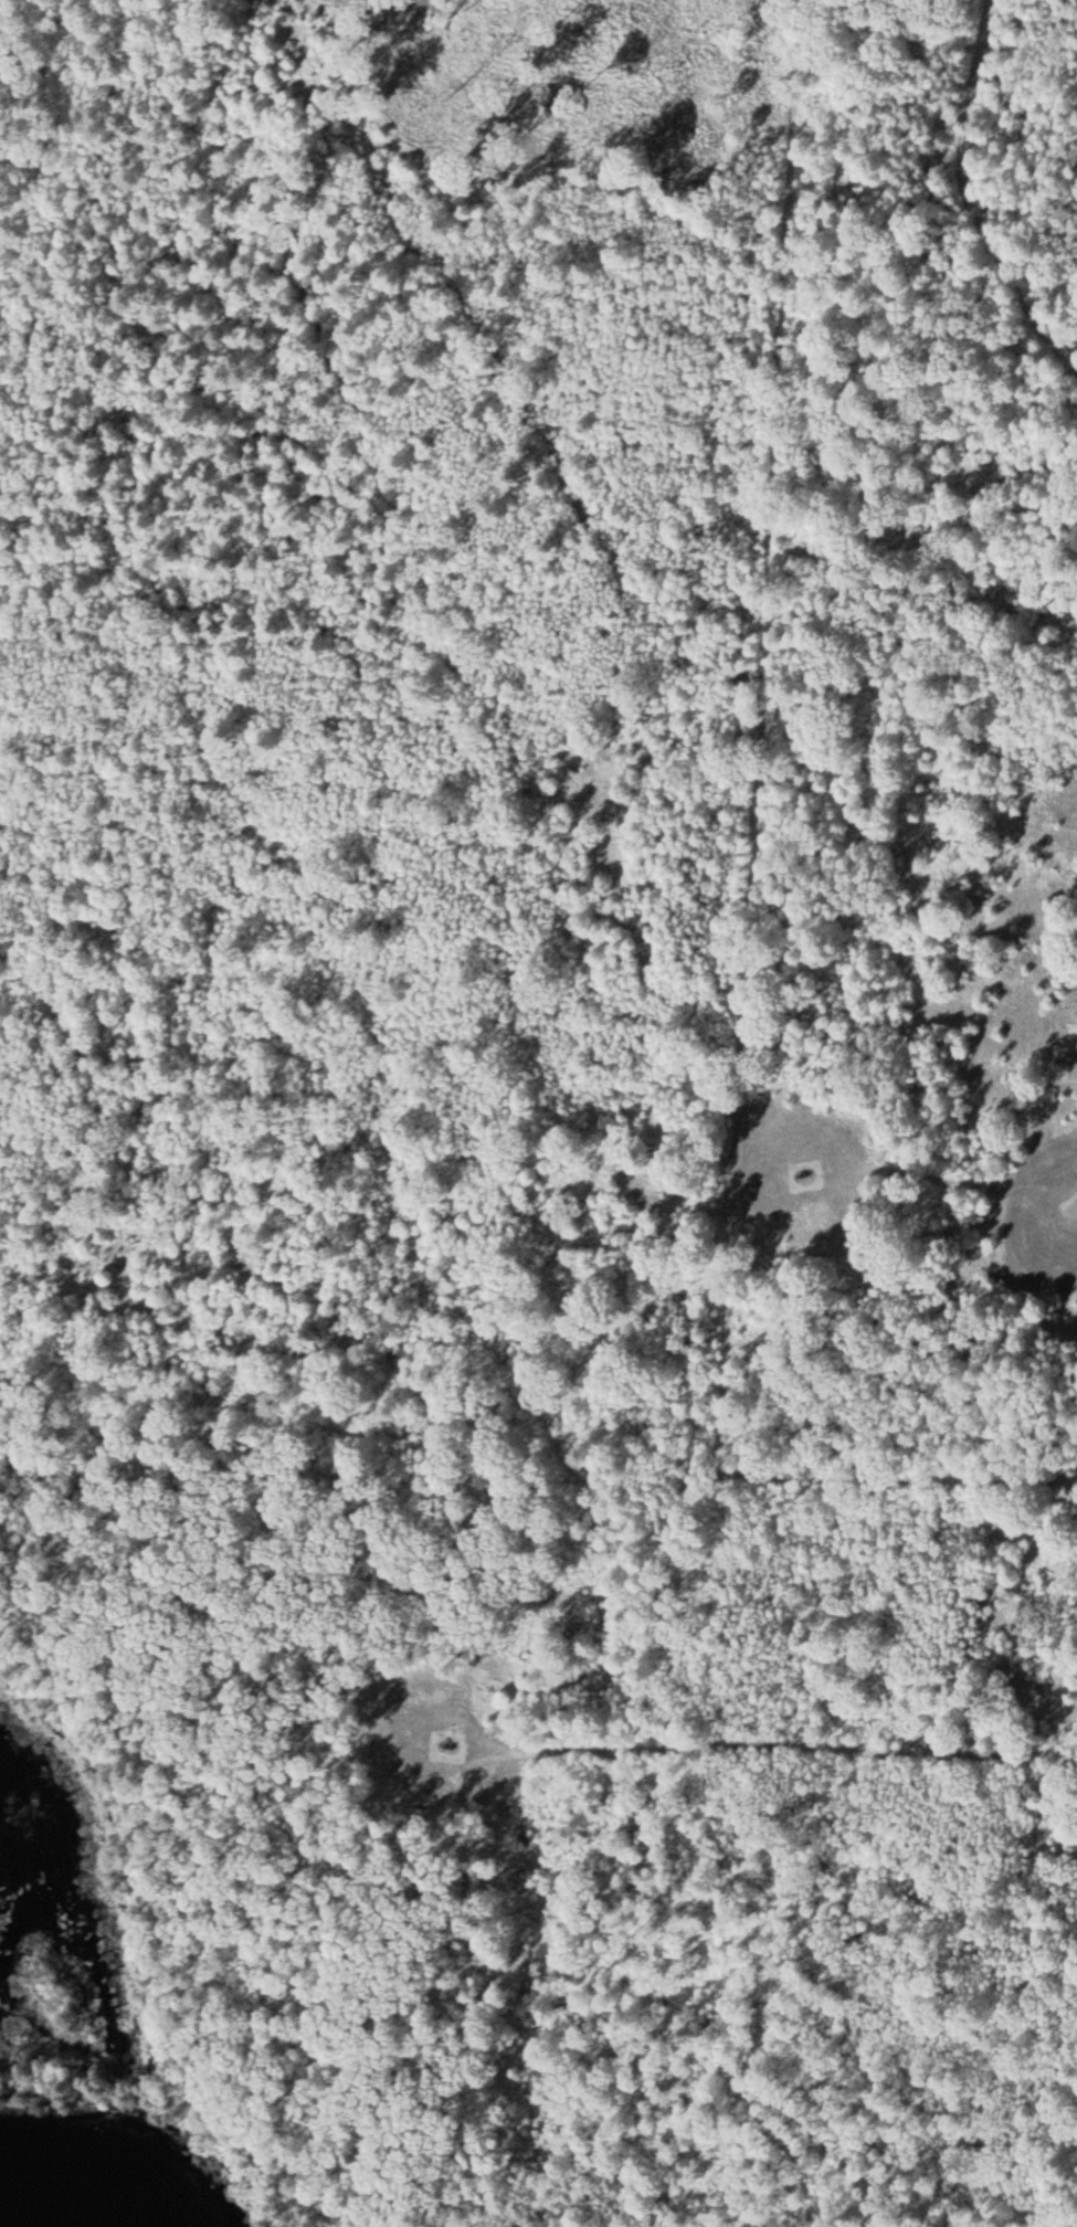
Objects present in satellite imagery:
road: (962, 203)
petroleum well: (798, 1178)
road: (777, 1750)
petroleum well: (434, 1751)

